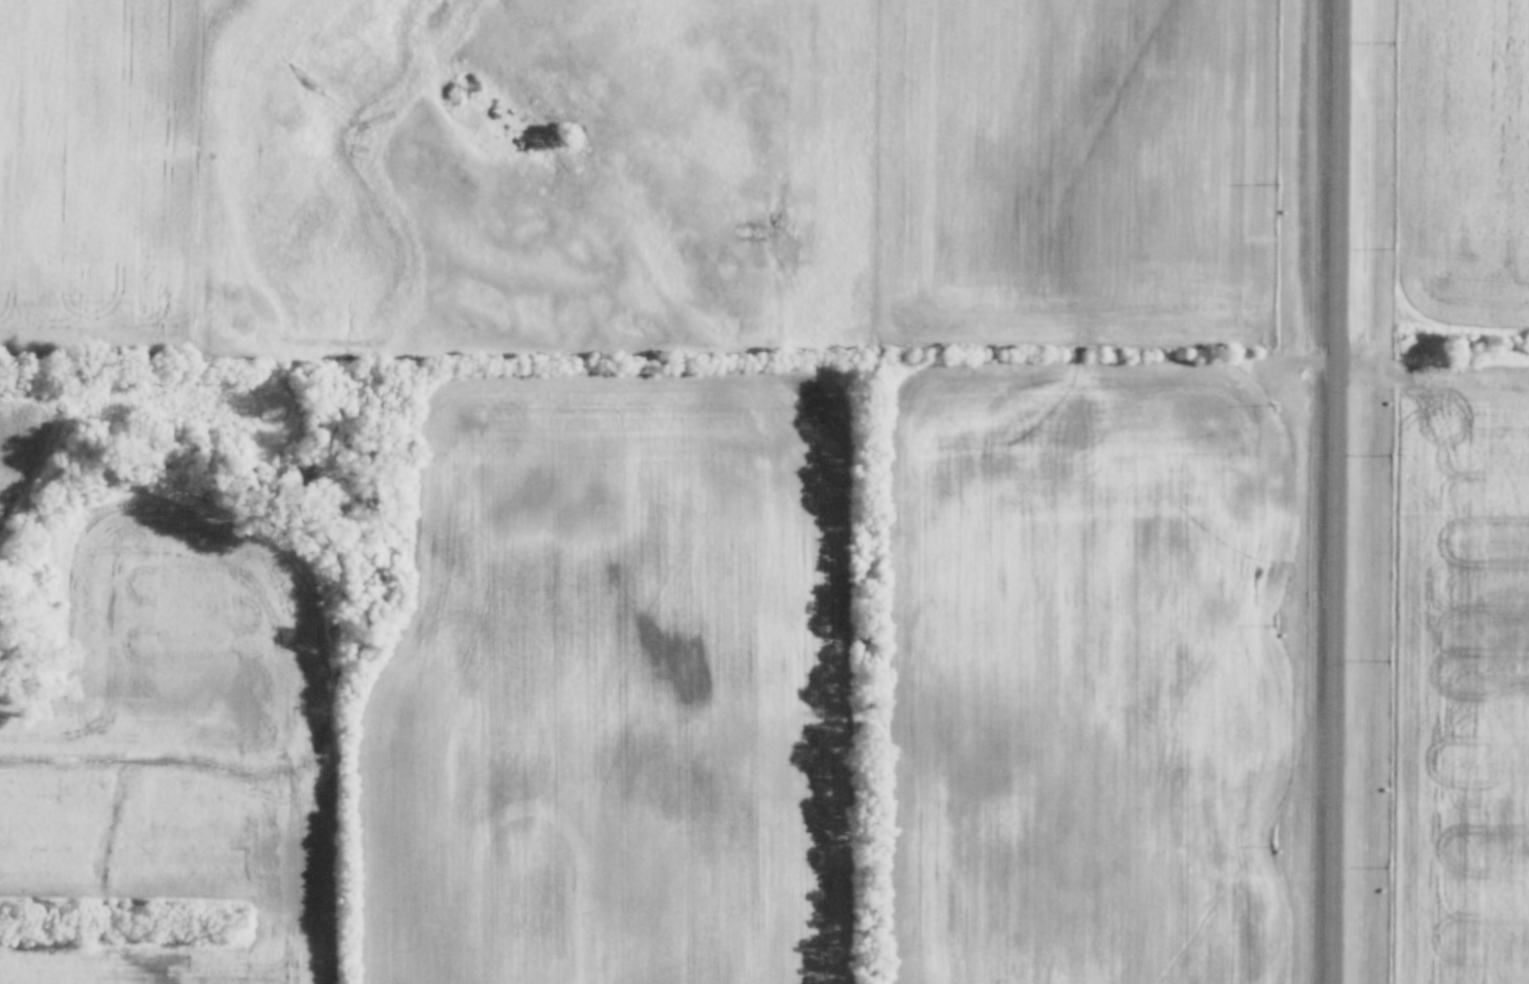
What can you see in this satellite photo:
road: (1343, 492)

